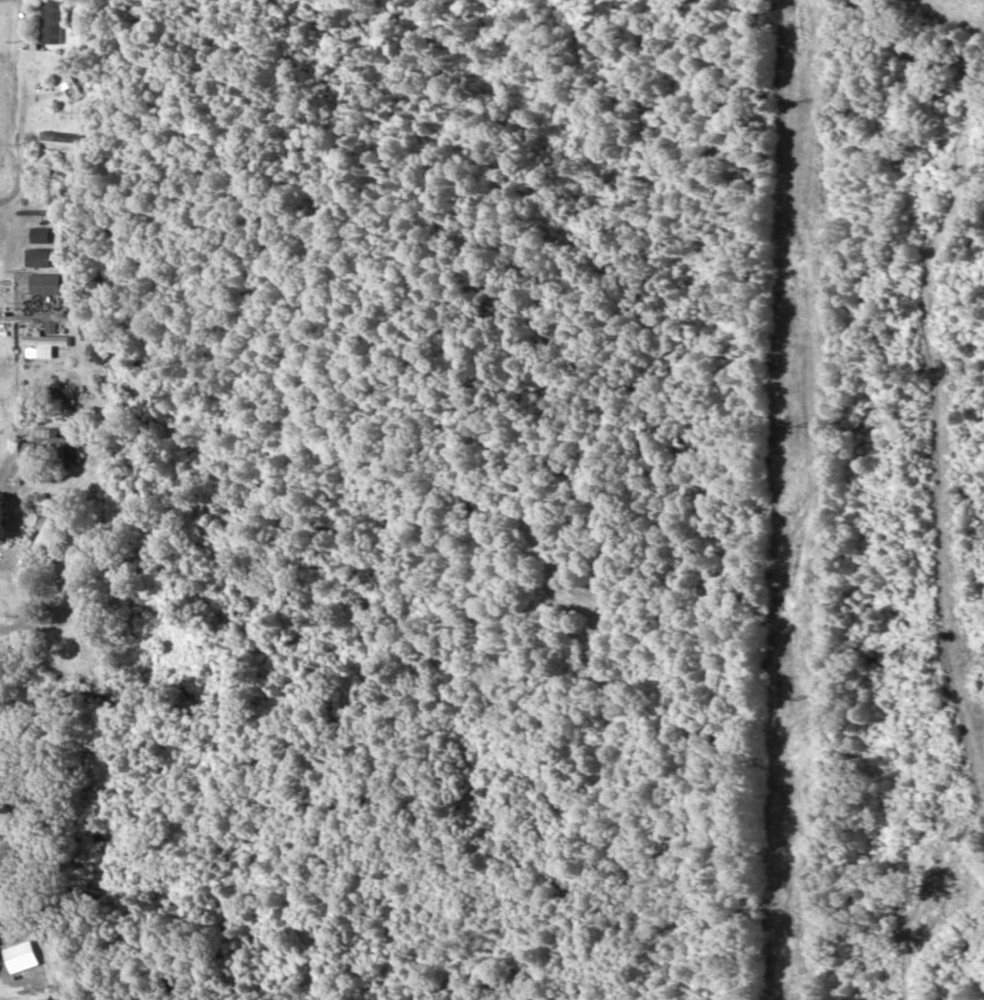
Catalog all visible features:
building: (53, 23)
road: (941, 25)
building: (40, 259)
building: (48, 285)
building: (50, 339)
building: (45, 446)
building: (47, 537)
road: (199, 963)

